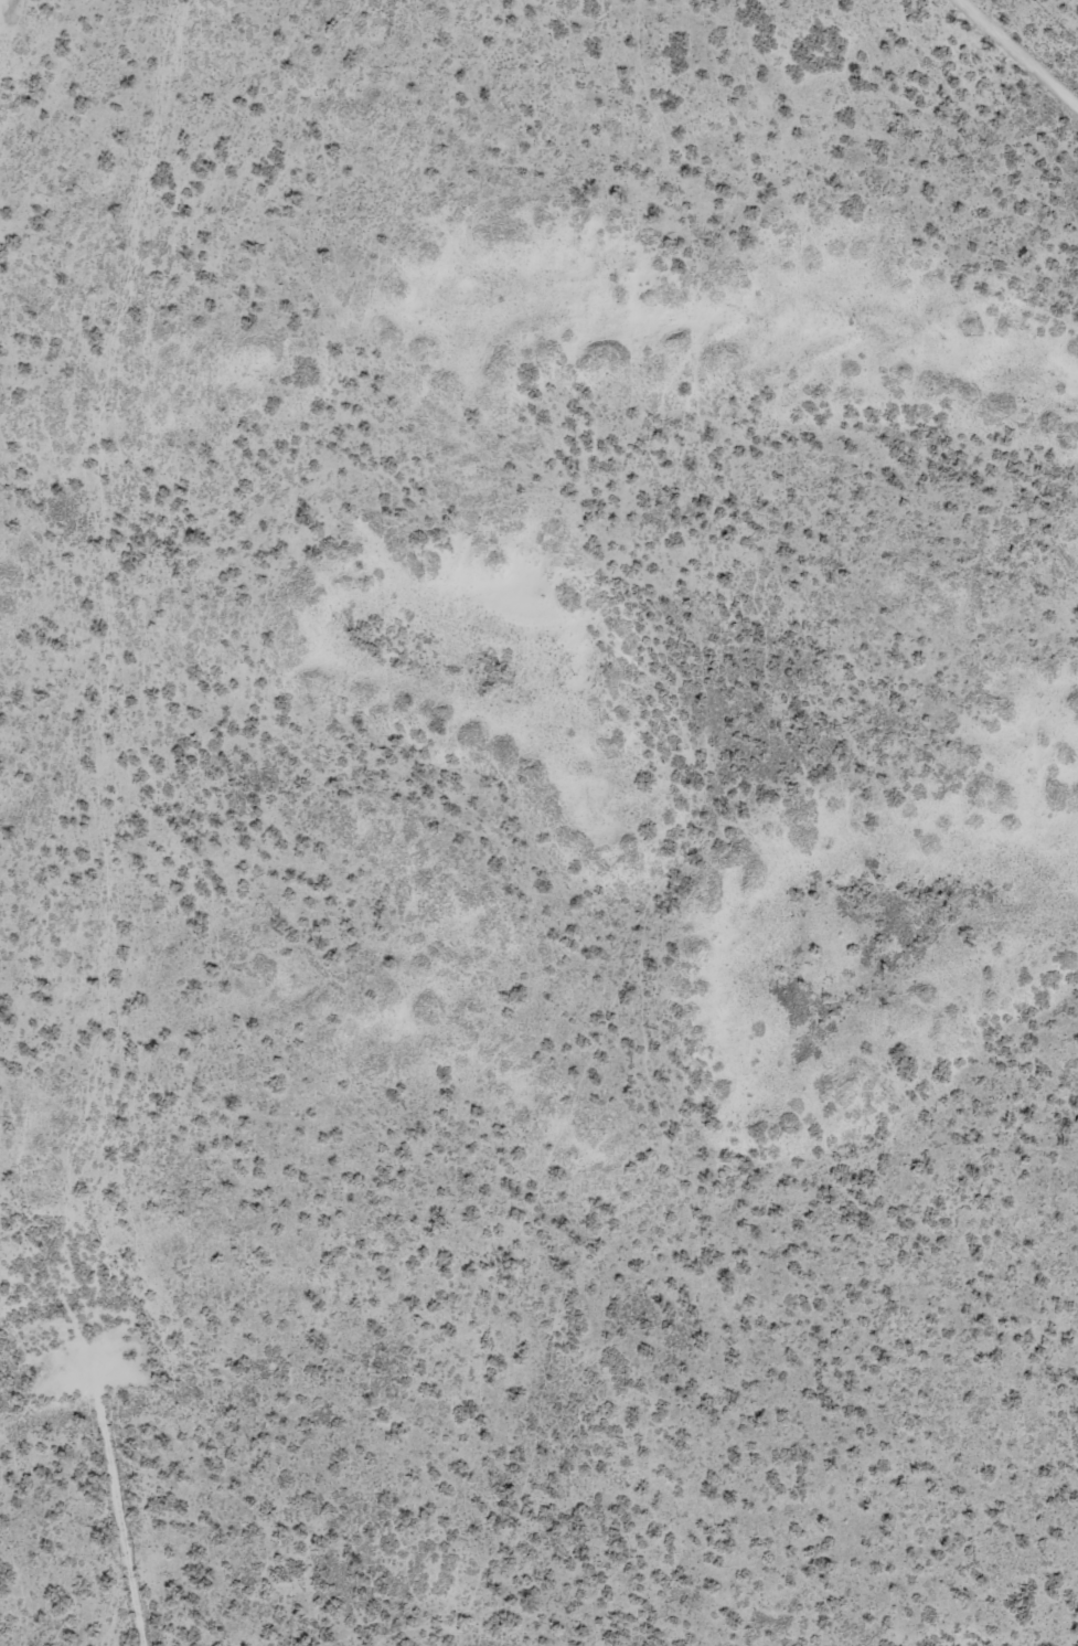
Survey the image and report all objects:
road: (1018, 53)

